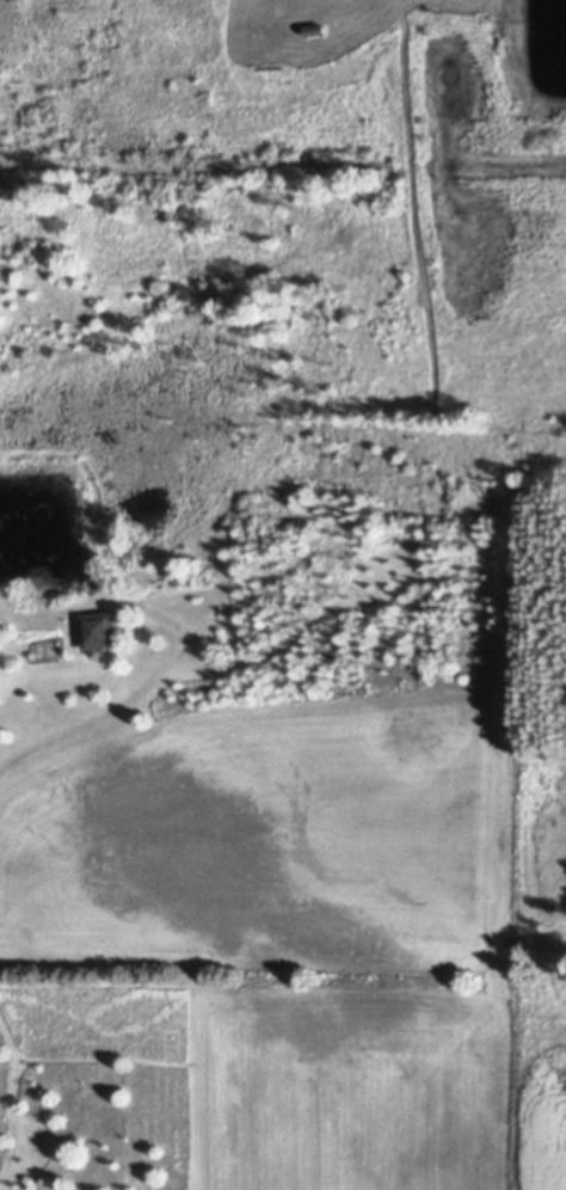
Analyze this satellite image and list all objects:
building: (98, 631)

